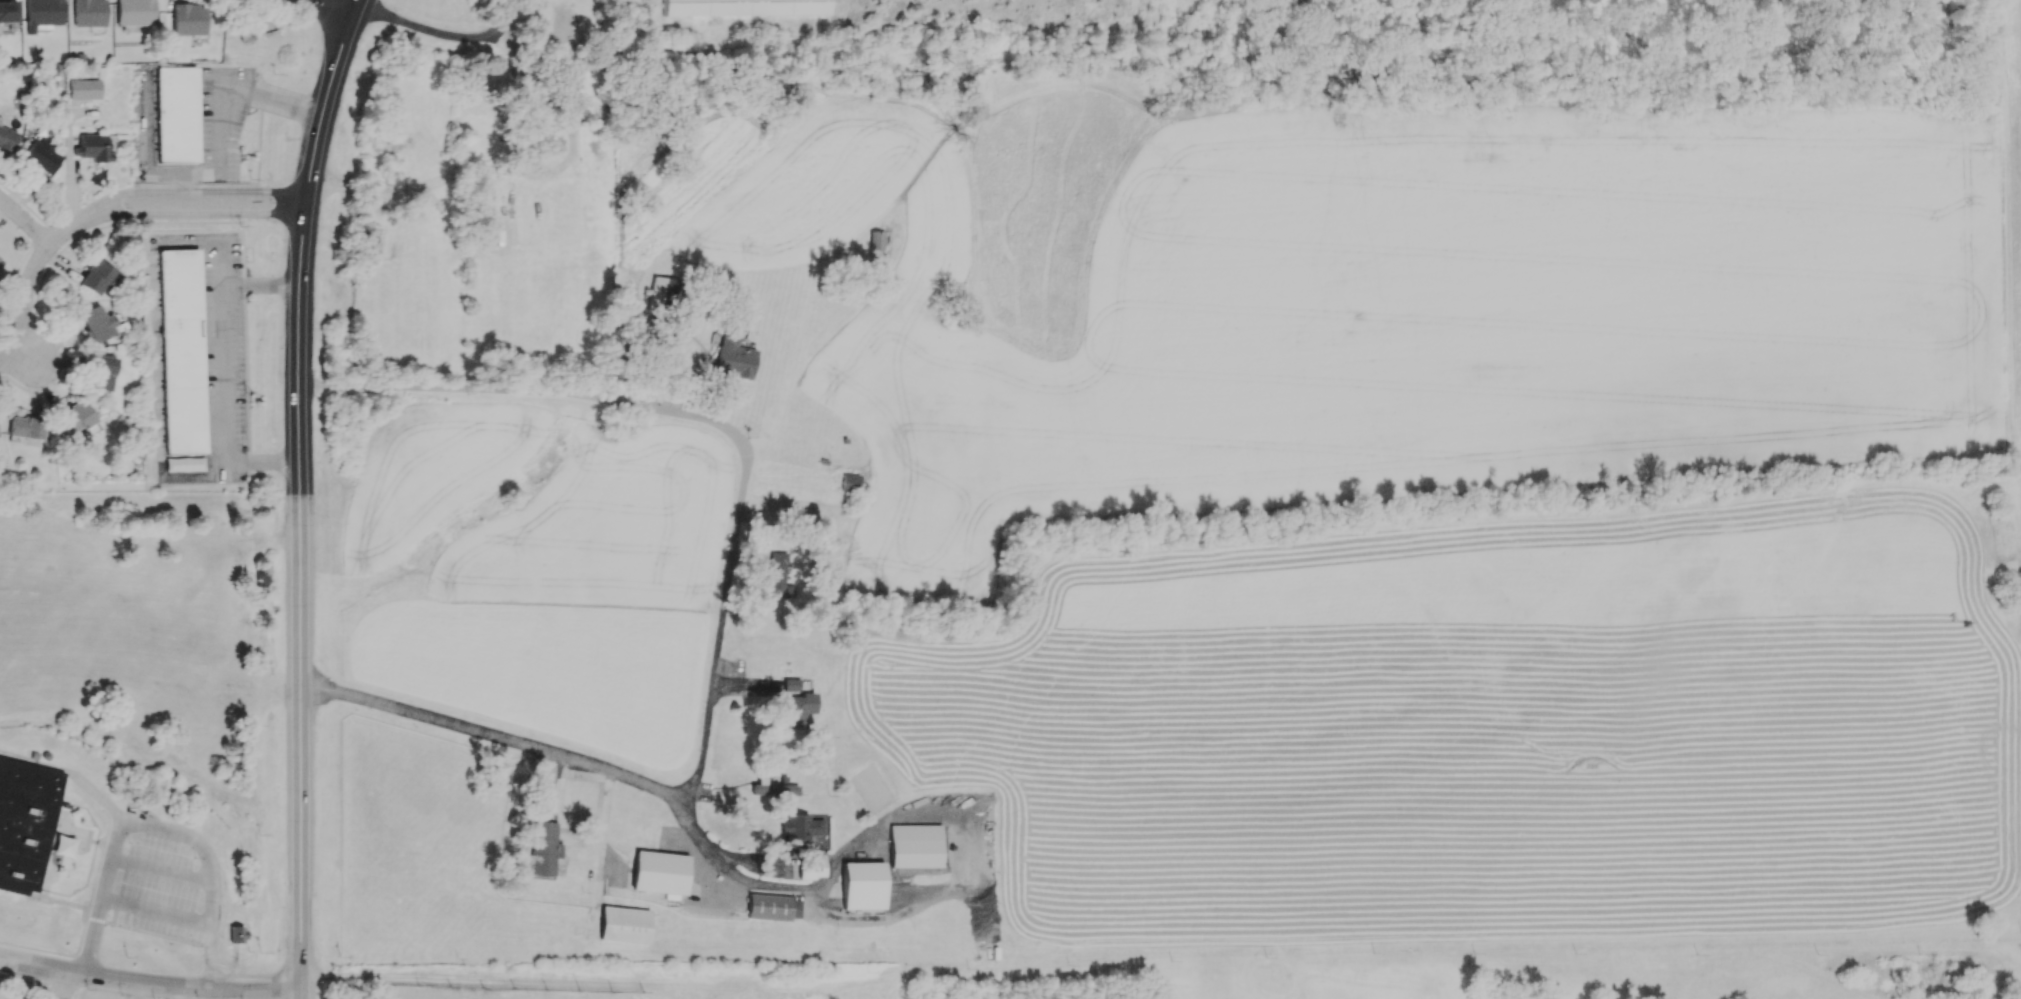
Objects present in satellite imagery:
road: (181, 1)
road: (1265, 3)
building: (746, 8)
building: (7, 10)
road: (323, 10)
building: (88, 12)
building: (134, 13)
building: (41, 14)
road: (1265, 15)
road: (1257, 16)
building: (188, 19)
road: (1260, 24)
road: (444, 37)
road: (1408, 61)
road: (1247, 64)
road: (220, 80)
building: (83, 89)
road: (220, 109)
building: (175, 113)
building: (0, 118)
road: (149, 134)
building: (7, 138)
building: (93, 148)
road: (258, 148)
road: (68, 154)
building: (40, 156)
road: (227, 177)
road: (198, 184)
road: (189, 190)
road: (23, 202)
road: (159, 214)
road: (272, 215)
road: (24, 225)
road: (15, 228)
road: (38, 232)
building: (875, 240)
road: (241, 244)
road: (38, 246)
road: (154, 250)
road: (50, 254)
building: (0, 262)
road: (64, 264)
road: (48, 265)
building: (95, 276)
road: (243, 283)
road: (257, 284)
road: (12, 286)
road: (31, 287)
building: (662, 294)
building: (96, 323)
building: (181, 350)
building: (733, 358)
road: (29, 359)
building: (101, 372)
road: (245, 373)
building: (74, 417)
road: (711, 424)
building: (25, 427)
road: (248, 461)
road: (258, 463)
building: (183, 464)
road: (248, 476)
building: (849, 482)
road: (296, 490)
road: (276, 501)
road: (118, 536)
road: (285, 539)
building: (779, 575)
road: (161, 612)
crop: (546, 668)
building: (789, 684)
road: (237, 696)
building: (797, 709)
road: (490, 739)
building: (772, 788)
building: (25, 822)
building: (799, 826)
building: (914, 845)
building: (543, 848)
road: (207, 859)
building: (809, 866)
road: (161, 867)
building: (658, 872)
building: (861, 885)
parking lot: (161, 888)
road: (56, 899)
road: (919, 901)
building: (771, 906)
road: (89, 917)
building: (624, 924)
building: (234, 934)
road: (90, 936)
road: (78, 942)
road: (29, 950)
building: (1265, 957)
road: (234, 966)
park: (1380, 974)
road: (32, 983)
road: (148, 985)
road: (65, 986)
road: (76, 987)
road: (47, 992)
road: (300, 994)
road: (360, 994)

